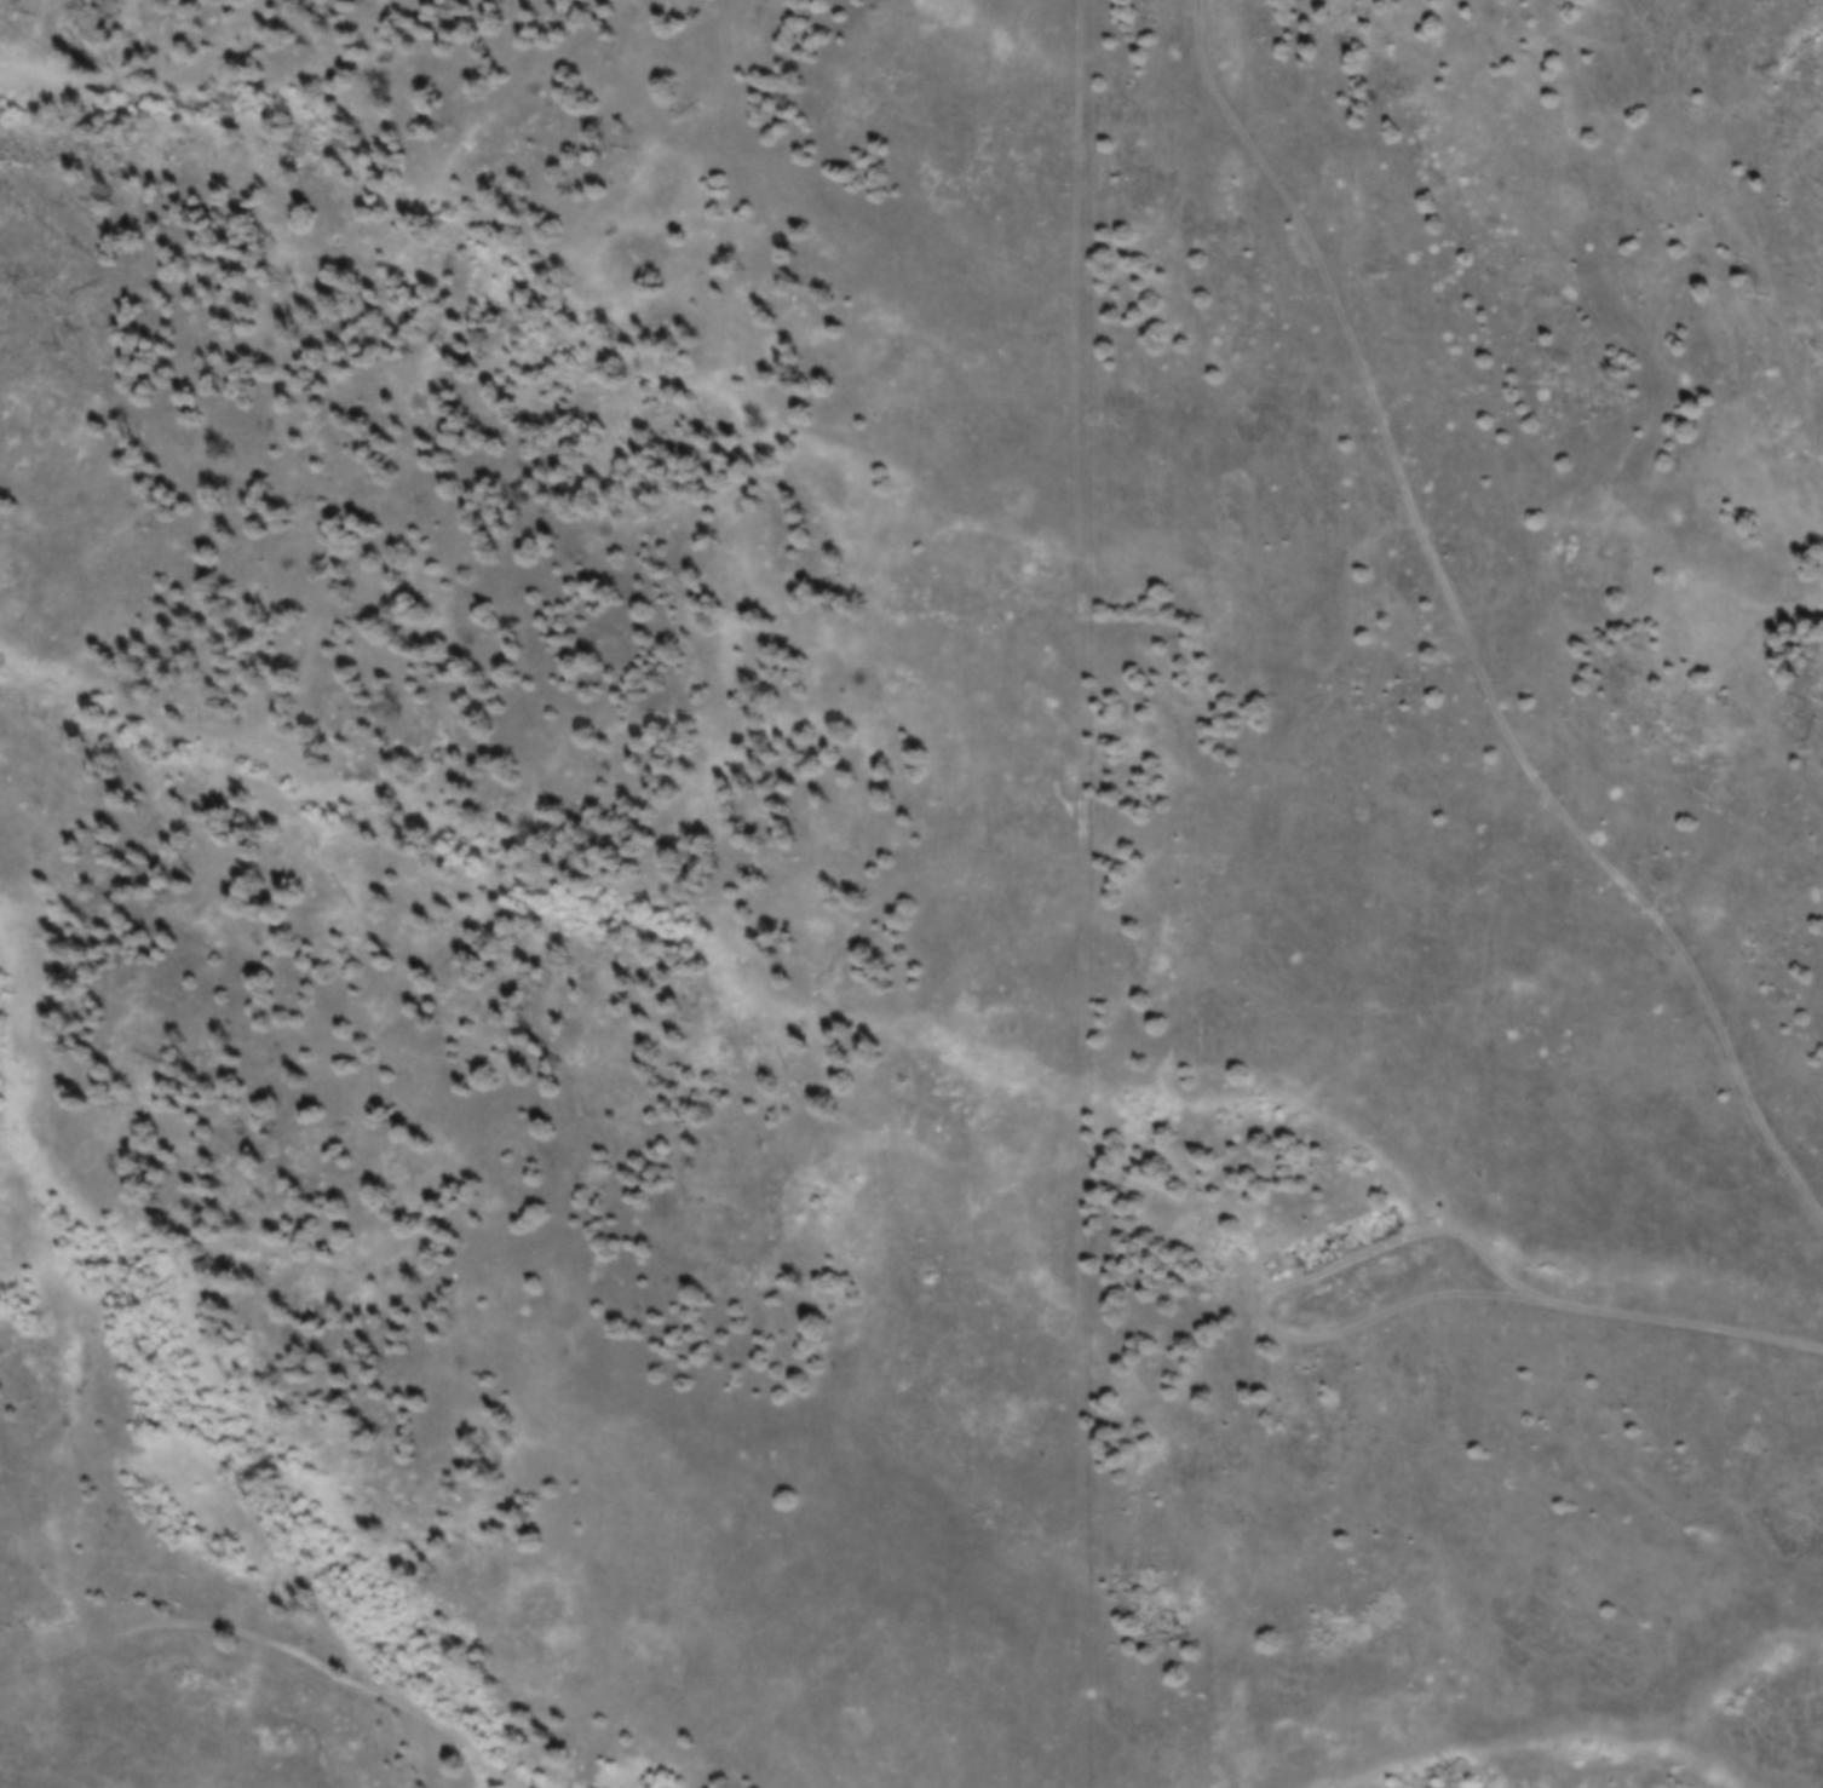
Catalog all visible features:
road: (1461, 633)
road: (1594, 1312)

